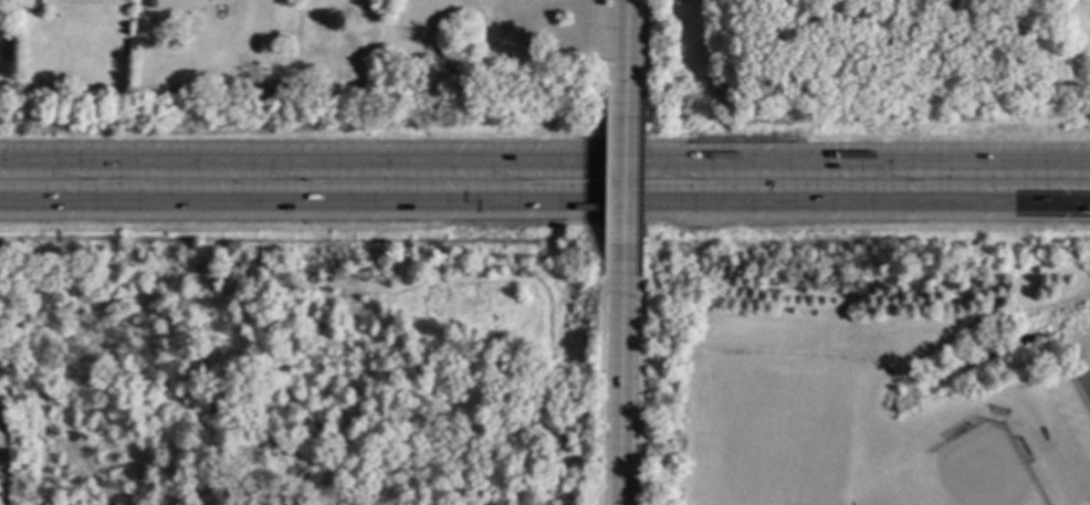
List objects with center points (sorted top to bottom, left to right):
building: (988, 2)
building: (30, 3)
building: (150, 3)
building: (838, 17)
building: (936, 33)
building: (132, 45)
road: (626, 57)
road: (545, 169)
street lamp: (93, 182)
street lamp: (706, 183)
street lamp: (921, 183)
street lamp: (531, 185)
street lamp: (310, 186)
road: (625, 191)
road: (545, 203)
road: (297, 297)
track: (1086, 378)
road: (620, 386)
road: (298, 392)
park: (767, 439)
park: (962, 474)
road: (281, 496)

